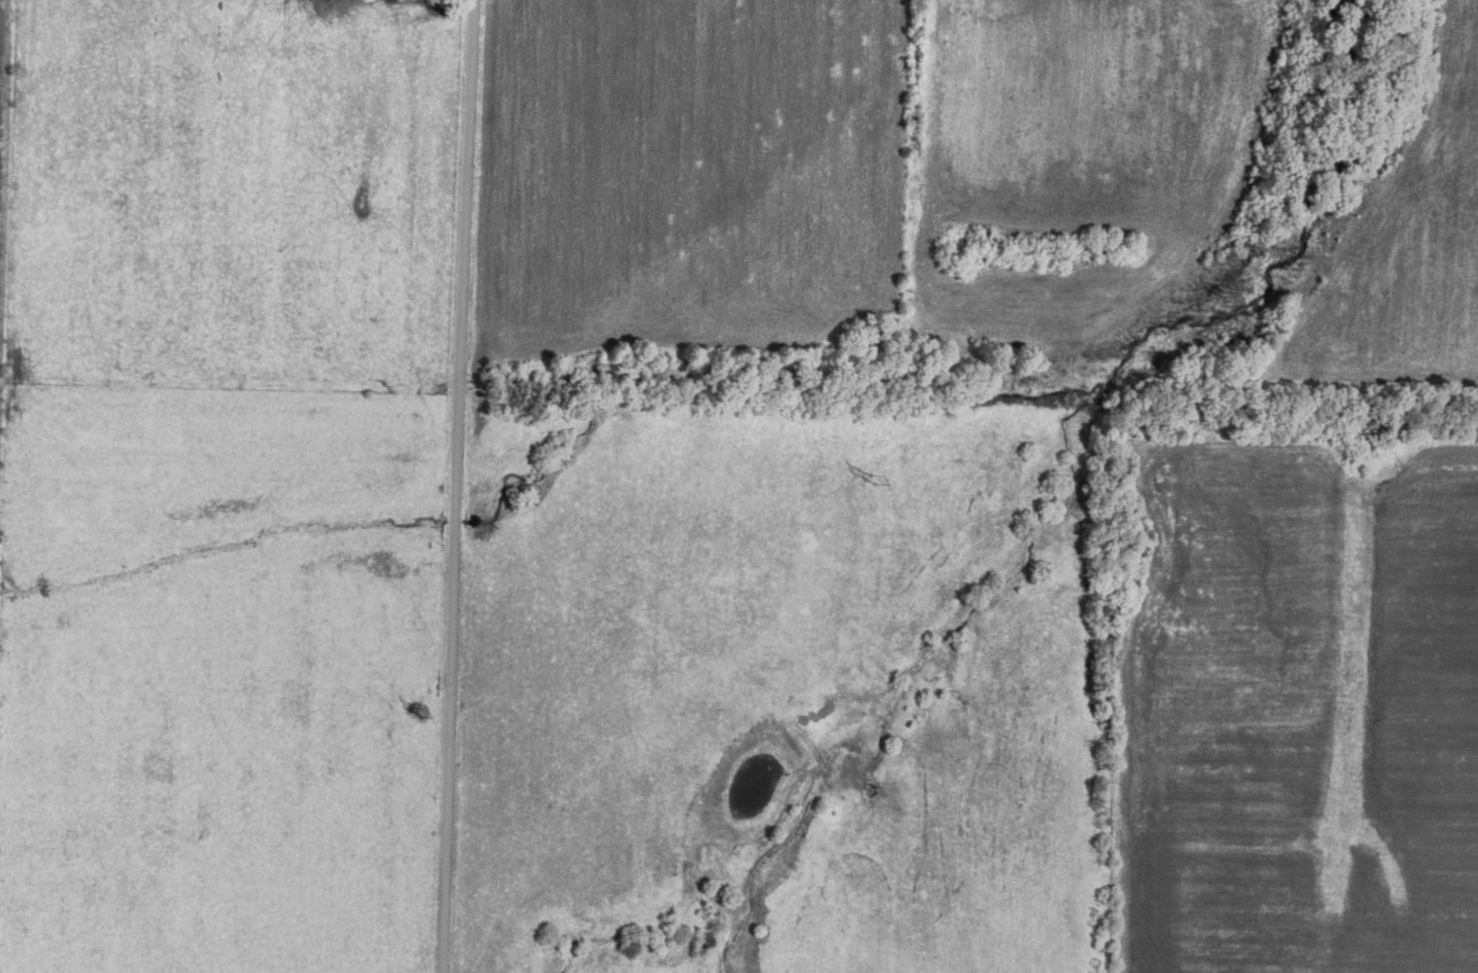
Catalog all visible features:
power tower: (1230, 306)
power tower: (874, 485)
road: (436, 486)
power tower: (421, 720)

